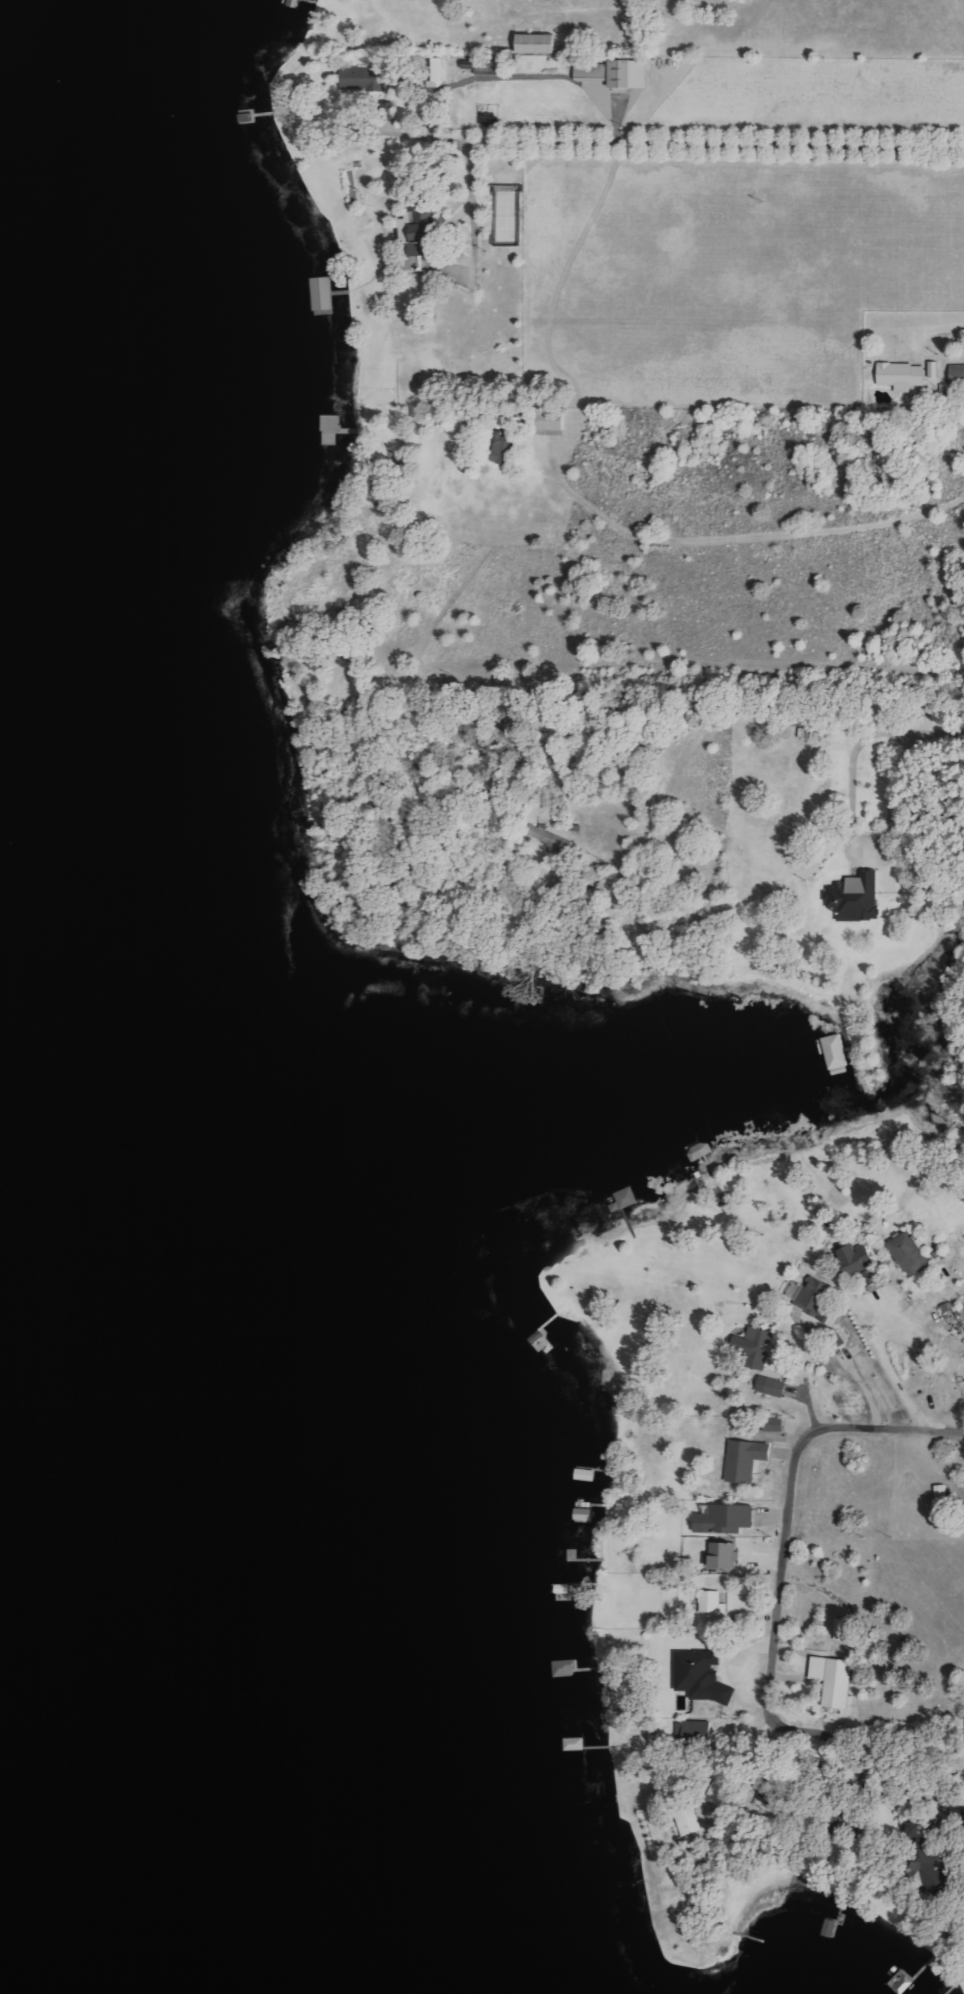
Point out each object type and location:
building: (539, 45)
building: (434, 70)
building: (593, 70)
building: (631, 74)
building: (363, 78)
building: (421, 229)
building: (934, 369)
building: (903, 375)
building: (552, 420)
building: (504, 448)
building: (552, 840)
building: (856, 897)
building: (837, 1052)
building: (701, 1151)
building: (911, 1254)
building: (861, 1266)
building: (813, 1294)
building: (905, 1325)
building: (757, 1346)
building: (773, 1386)
building: (775, 1424)
building: (747, 1458)
building: (727, 1518)
road: (774, 1607)
building: (841, 1629)
building: (566, 1668)
building: (703, 1675)
building: (834, 1679)
building: (926, 1857)

